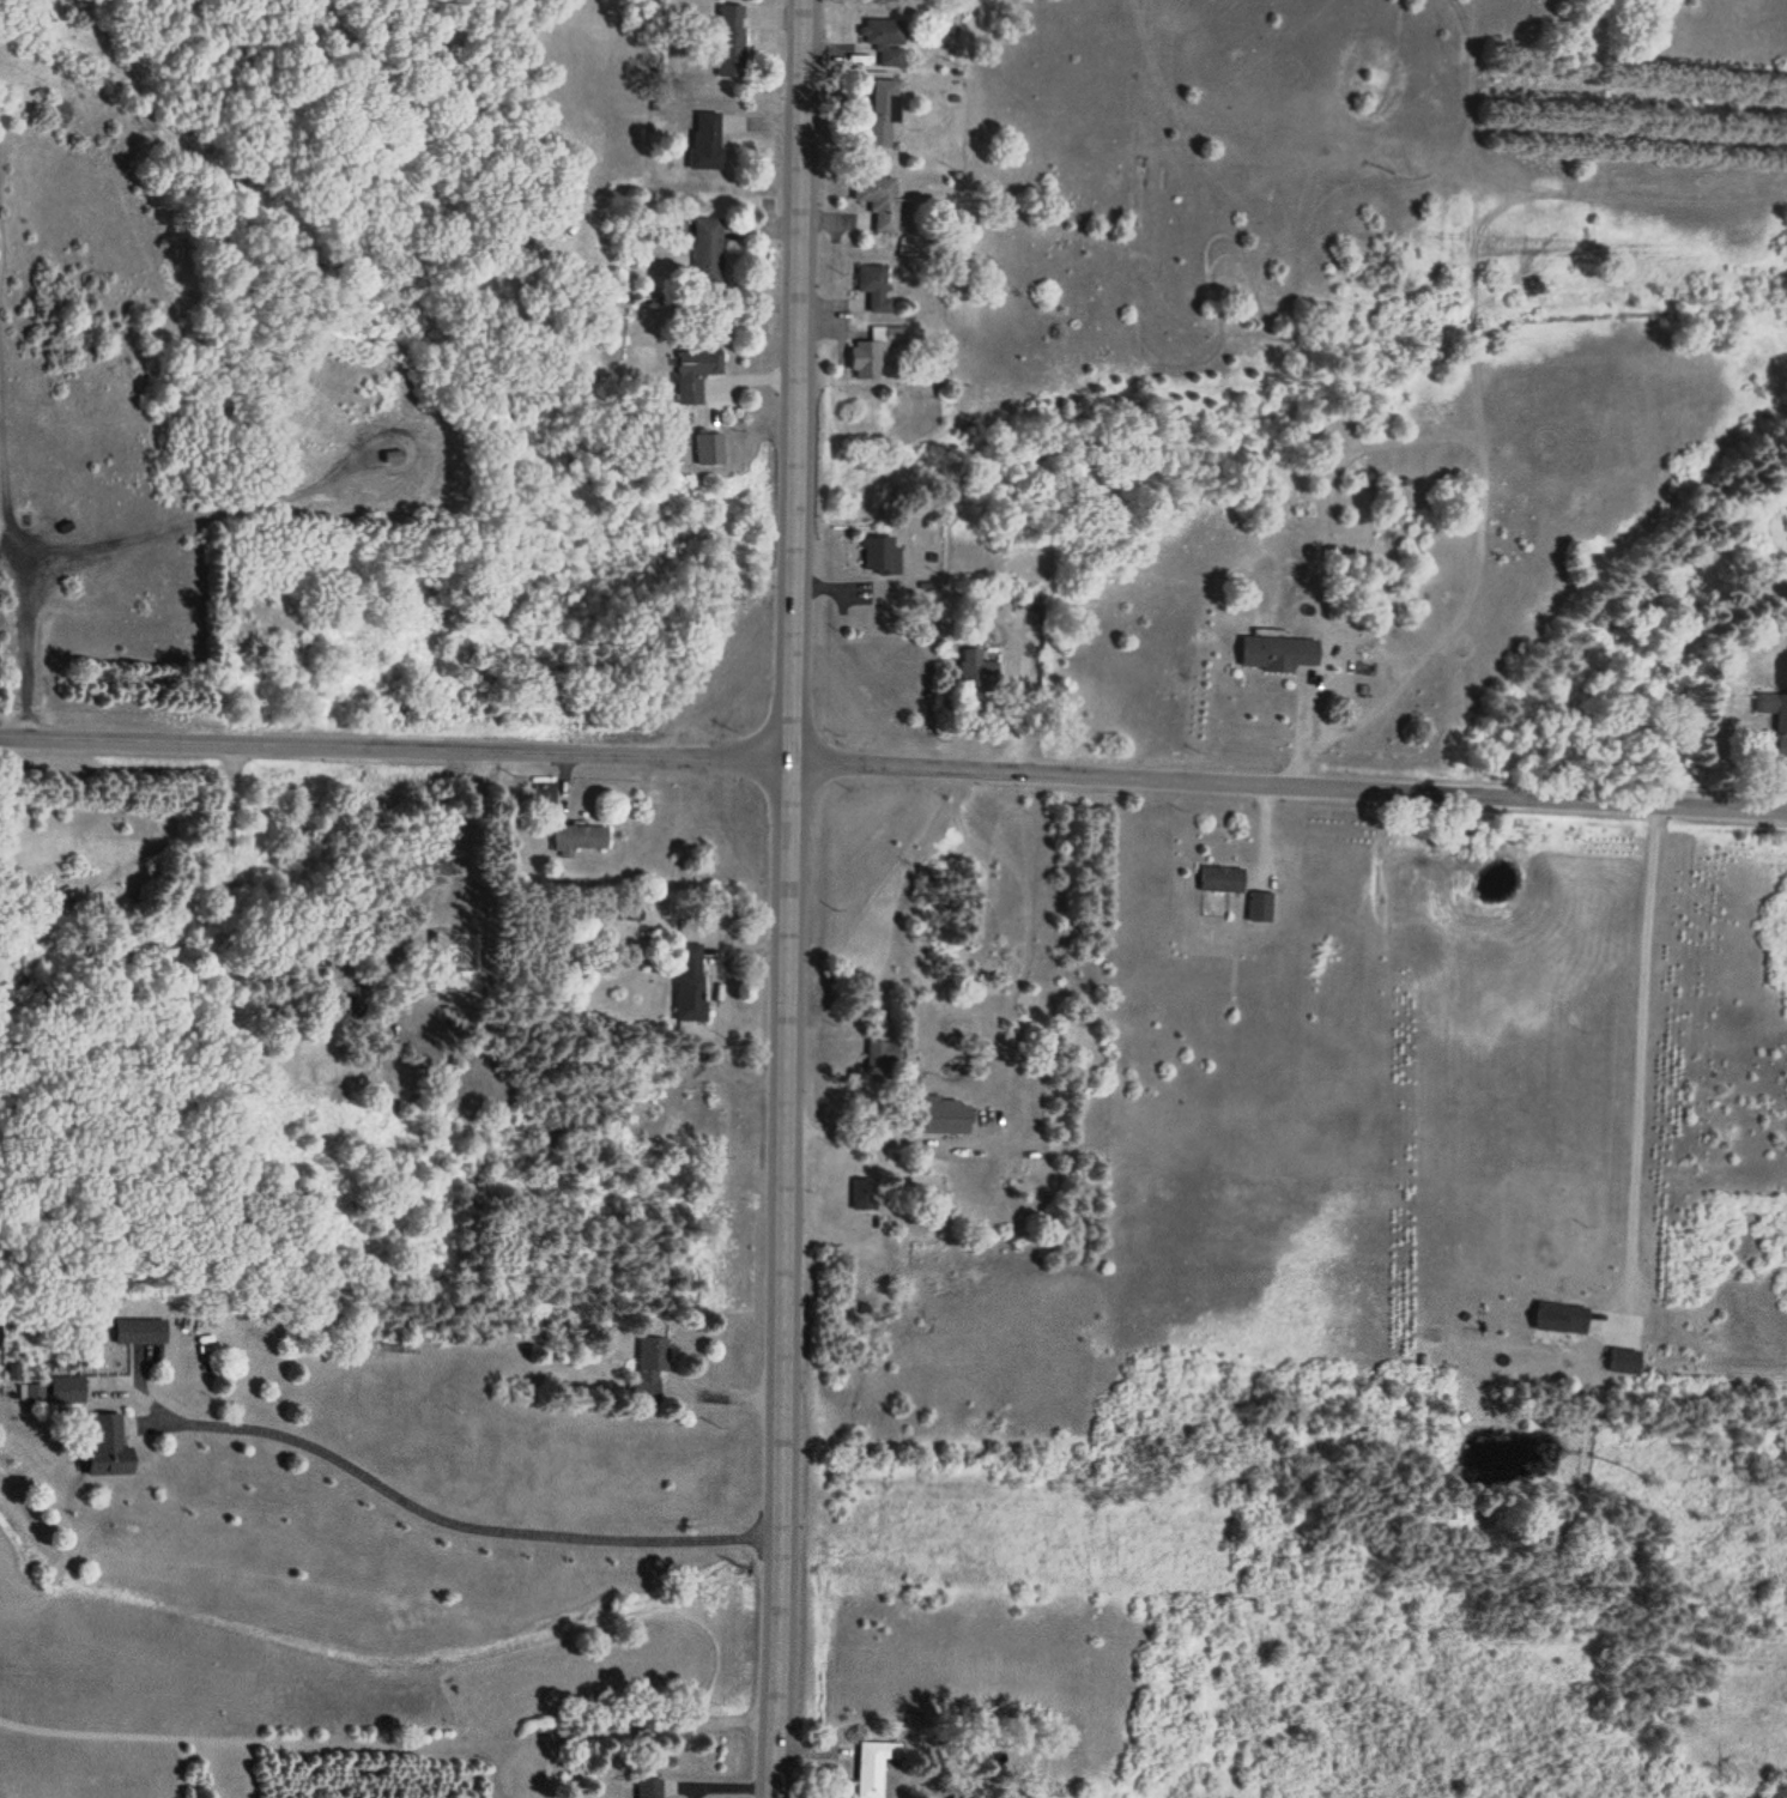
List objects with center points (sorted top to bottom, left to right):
building: (883, 32)
building: (732, 42)
building: (884, 113)
building: (707, 133)
building: (880, 201)
building: (707, 250)
building: (876, 286)
building: (874, 352)
building: (695, 374)
building: (394, 456)
building: (882, 556)
building: (1283, 652)
building: (979, 672)
road: (393, 749)
building: (1782, 753)
road: (1288, 785)
building: (578, 840)
building: (1223, 880)
road: (786, 898)
building: (1261, 908)
building: (689, 983)
building: (882, 1058)
building: (947, 1118)
building: (864, 1195)
building: (141, 1333)
building: (650, 1369)
building: (110, 1448)
building: (872, 1764)
building: (652, 1787)

